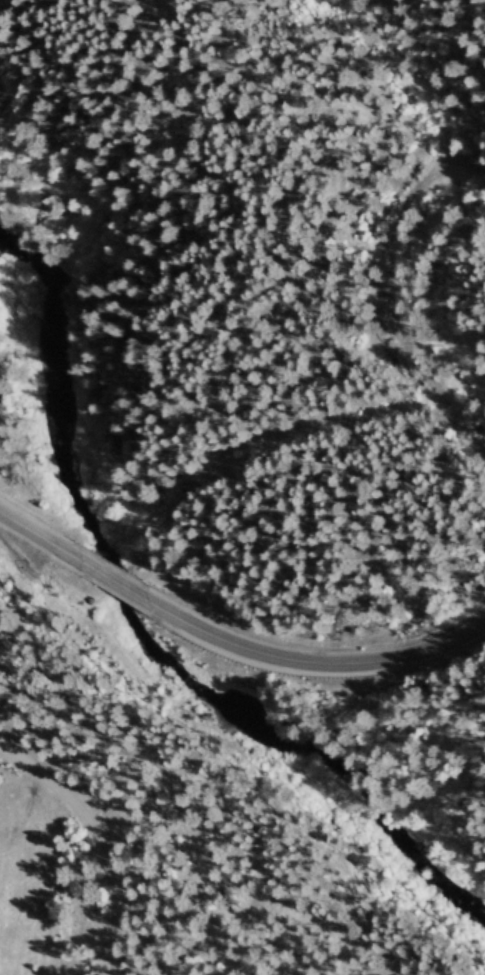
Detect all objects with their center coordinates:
road: (50, 549)
road: (124, 593)
road: (313, 669)
road: (98, 845)

